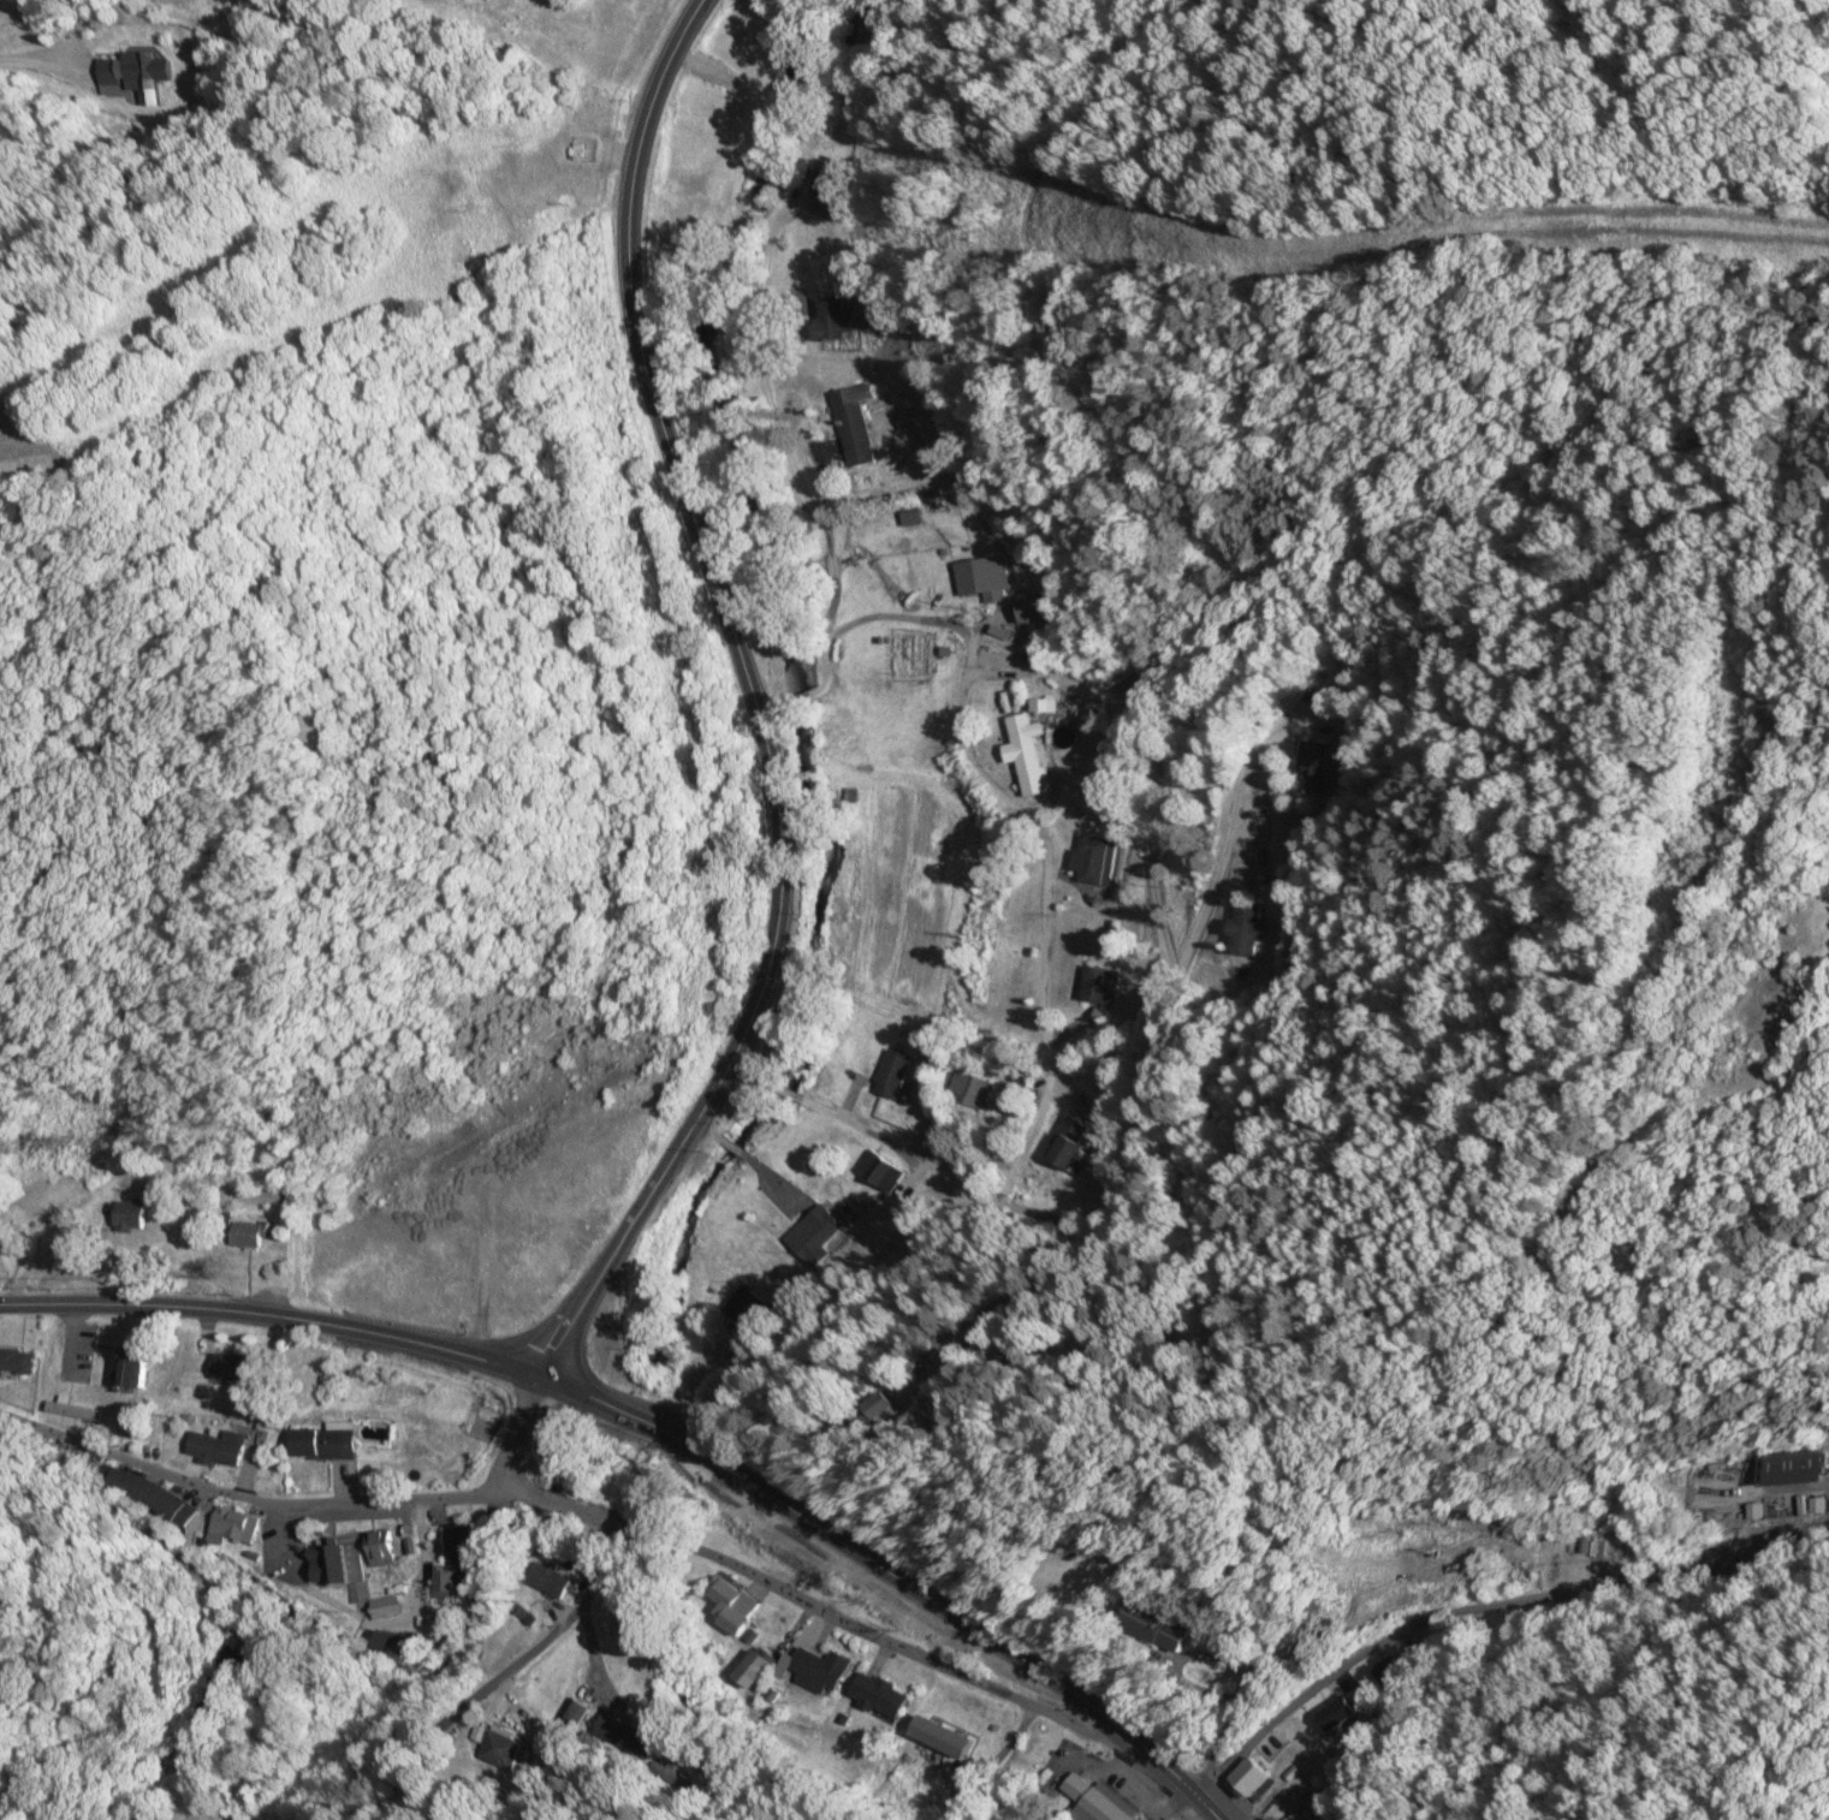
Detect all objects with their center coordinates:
building: (144, 70)
building: (108, 72)
building: (826, 180)
building: (833, 320)
building: (854, 427)
road: (818, 524)
building: (984, 577)
building: (1032, 608)
road: (738, 666)
river: (789, 679)
road: (791, 697)
road: (766, 704)
building: (1025, 753)
building: (1314, 765)
road: (1038, 833)
building: (1093, 858)
building: (1247, 928)
building: (1100, 983)
building: (891, 1072)
building: (969, 1088)
building: (1068, 1144)
building: (880, 1170)
road: (1202, 1191)
building: (127, 1214)
building: (248, 1232)
building: (818, 1236)
building: (748, 1307)
road: (268, 1314)
road: (551, 1343)
building: (16, 1360)
building: (231, 1366)
building: (130, 1372)
building: (869, 1399)
building: (72, 1410)
river: (635, 1412)
road: (510, 1432)
building: (322, 1443)
building: (215, 1447)
building: (1792, 1468)
building: (139, 1489)
road: (581, 1513)
building: (232, 1525)
building: (459, 1542)
building: (379, 1547)
building: (340, 1569)
road: (887, 1576)
building: (447, 1581)
road: (1477, 1596)
building: (730, 1604)
building: (1147, 1625)
building: (396, 1642)
building: (224, 1667)
building: (818, 1669)
building: (1392, 1673)
road: (482, 1689)
building: (877, 1694)
building: (1342, 1708)
building: (575, 1712)
building: (623, 1733)
building: (939, 1737)
building: (498, 1745)
building: (1249, 1780)
building: (1091, 1802)
building: (1296, 1816)

